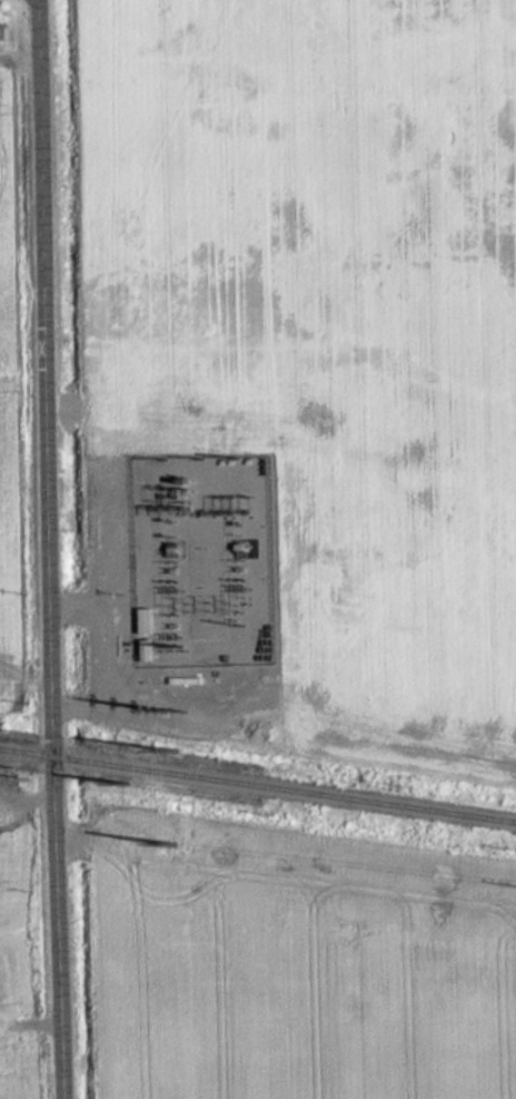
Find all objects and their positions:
road: (53, 549)
power substation: (202, 560)
building: (152, 651)
power tower: (170, 747)
railway: (258, 784)
power tower: (171, 847)

